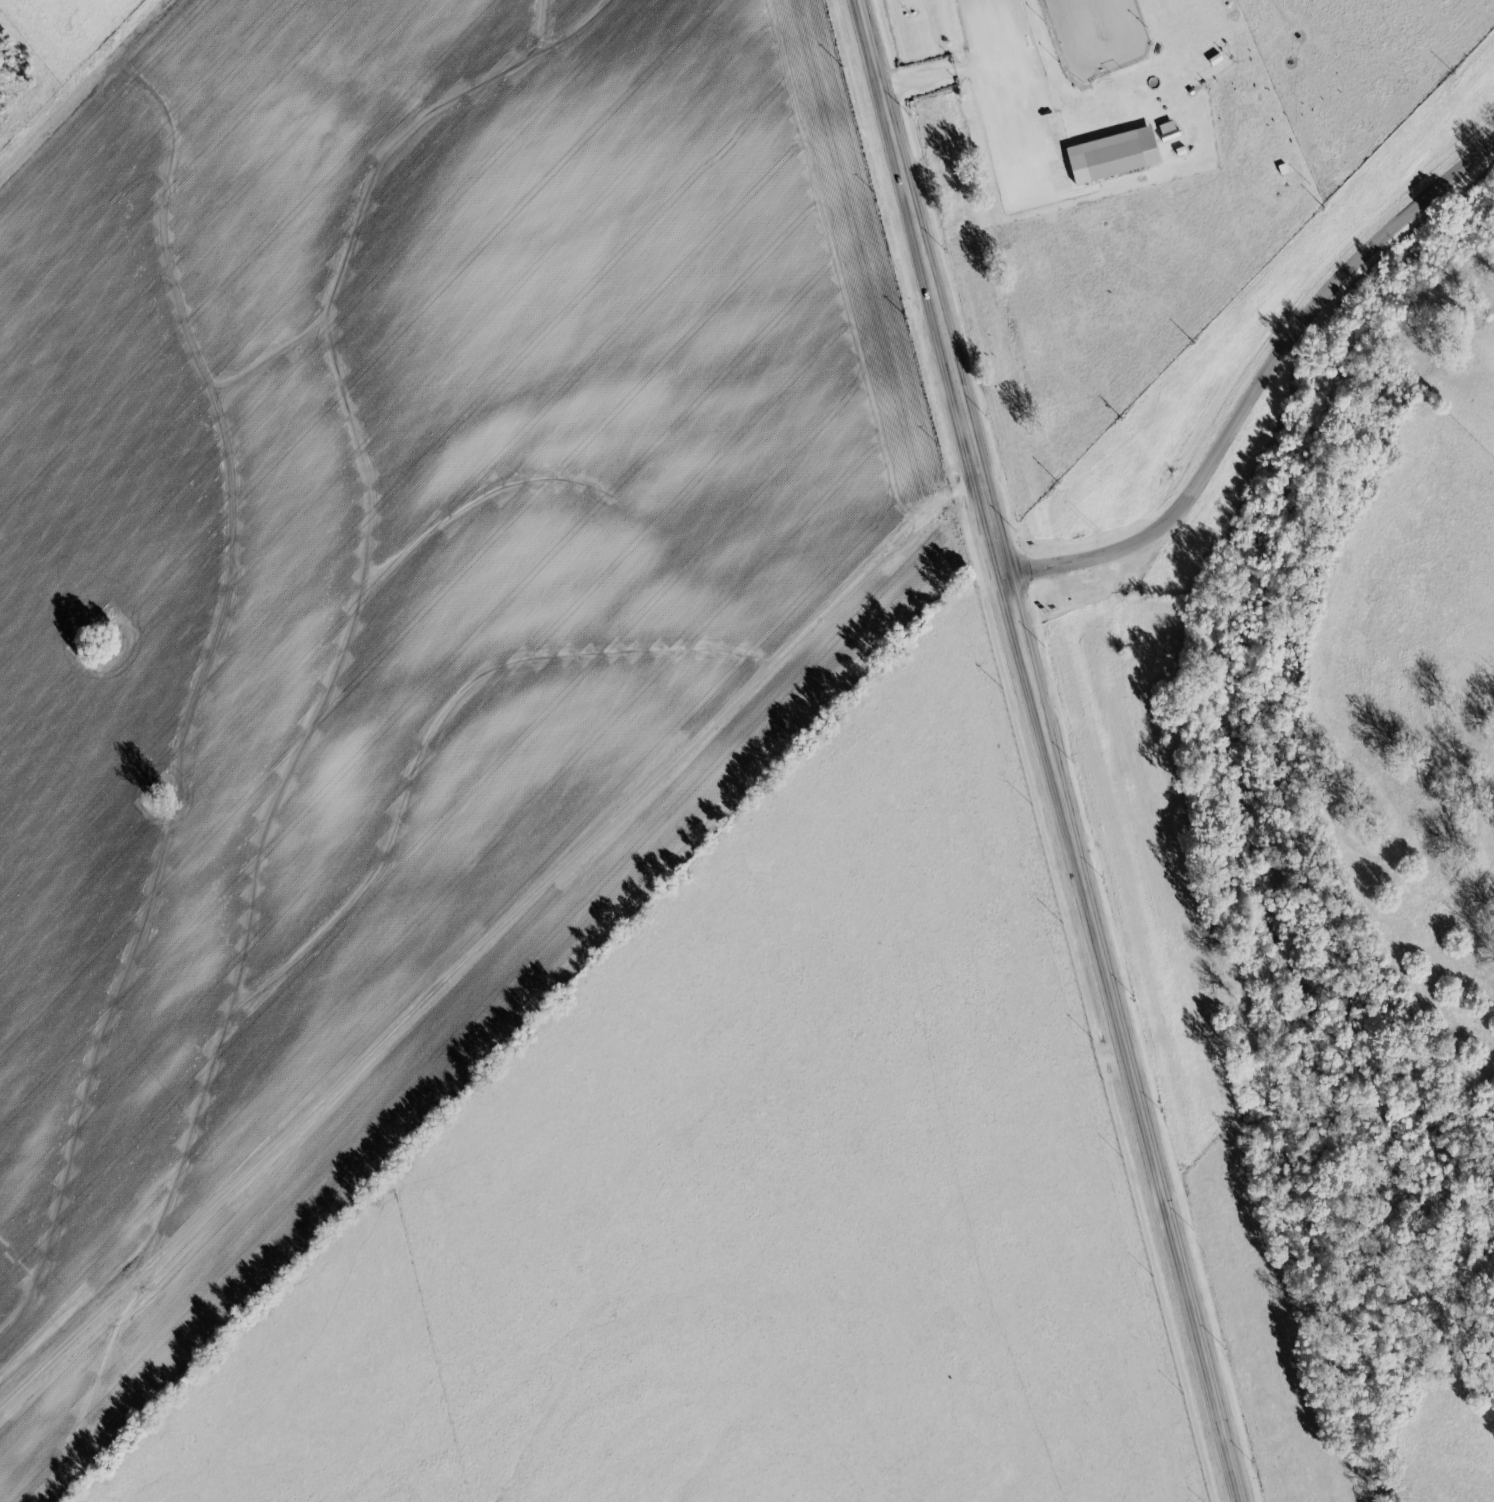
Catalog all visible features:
road: (981, 66)
building: (1168, 130)
building: (1113, 155)
road: (1258, 378)
road: (1044, 751)
railway: (1097, 751)
railway: (1130, 751)
road: (525, 984)

